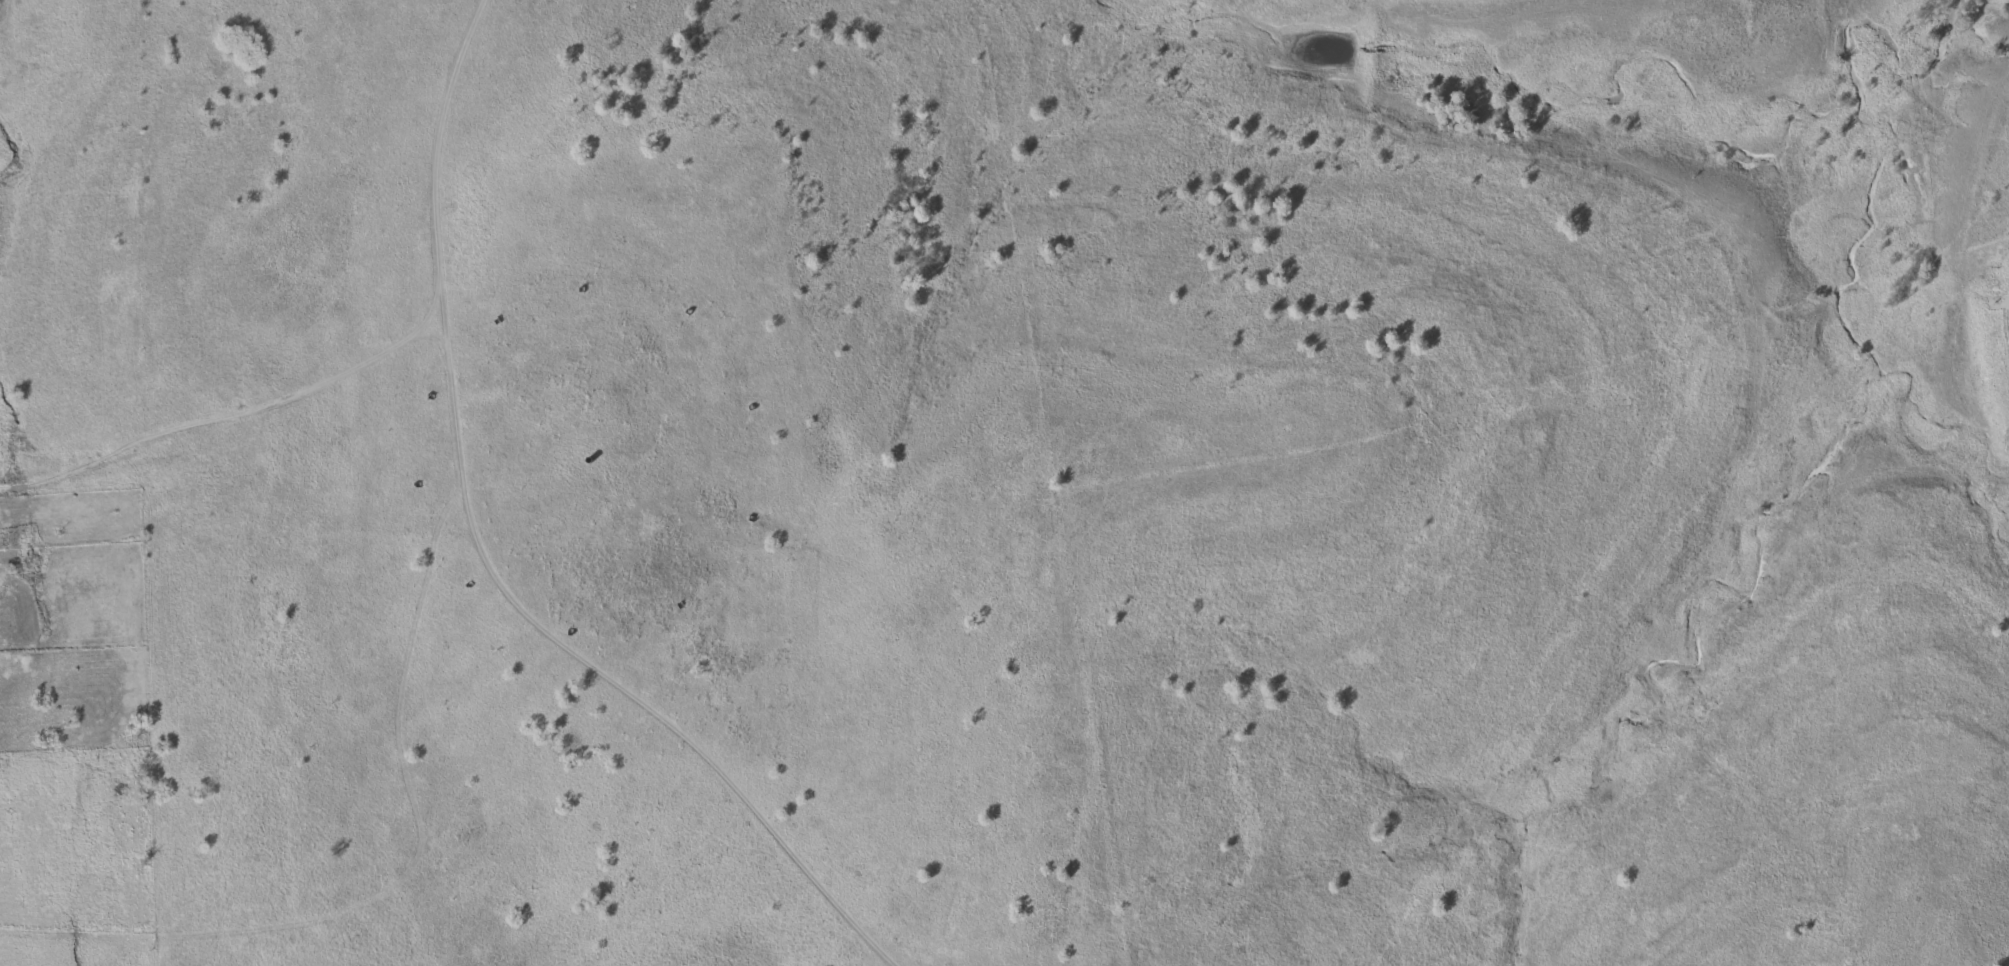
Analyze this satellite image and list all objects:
road: (312, 370)
road: (439, 443)
road: (548, 673)

